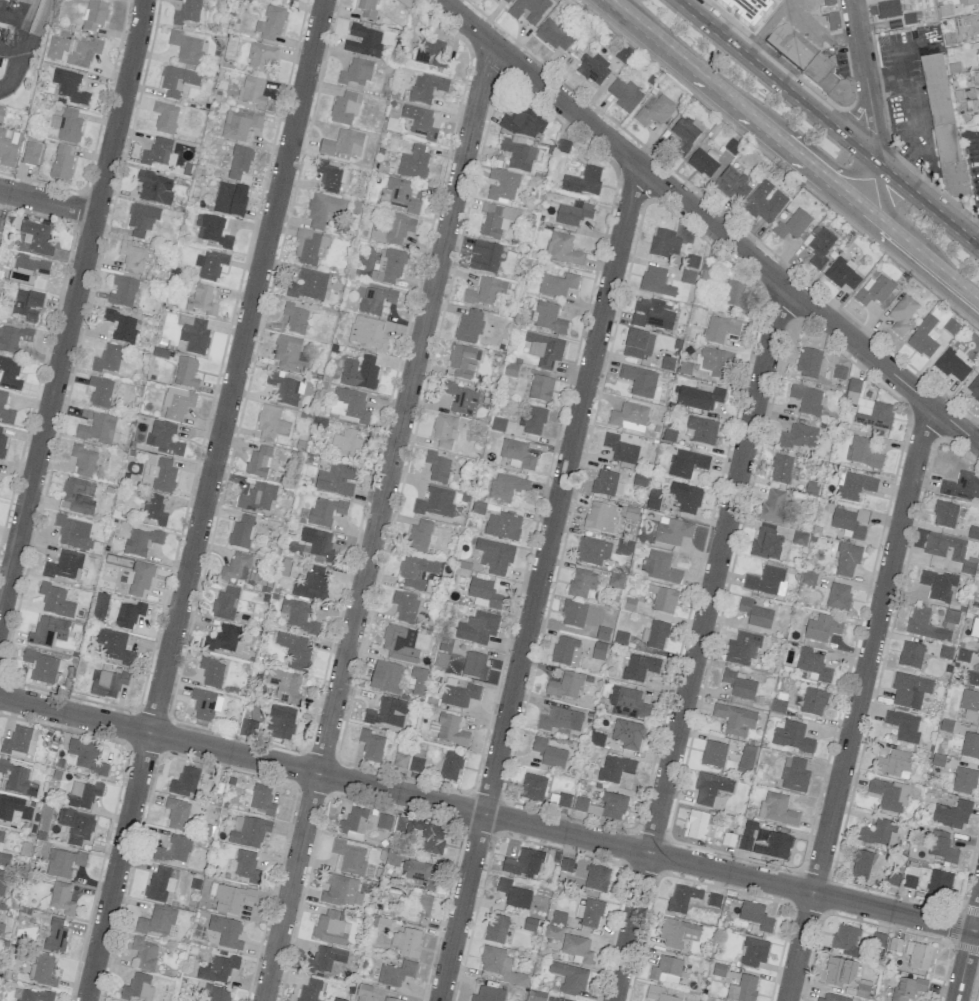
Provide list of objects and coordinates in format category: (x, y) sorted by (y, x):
building: (272, 0)
building: (504, 2)
road: (611, 4)
road: (612, 4)
building: (367, 8)
building: (888, 9)
building: (528, 10)
building: (747, 10)
building: (187, 12)
building: (831, 14)
building: (94, 15)
building: (270, 23)
building: (967, 25)
road: (766, 26)
road: (37, 27)
road: (818, 29)
building: (553, 36)
building: (363, 41)
building: (978, 42)
building: (791, 45)
road: (21, 46)
building: (186, 48)
road: (11, 49)
building: (73, 50)
building: (430, 53)
building: (260, 57)
building: (593, 68)
building: (356, 73)
road: (884, 78)
building: (975, 78)
building: (178, 81)
building: (829, 81)
road: (781, 83)
road: (866, 83)
building: (70, 87)
building: (426, 88)
building: (252, 92)
building: (623, 95)
building: (966, 98)
building: (344, 108)
road: (910, 110)
building: (654, 111)
building: (165, 117)
building: (420, 121)
building: (523, 123)
building: (67, 125)
building: (239, 125)
building: (943, 127)
building: (684, 133)
building: (343, 146)
building: (8, 148)
building: (157, 152)
road: (799, 152)
building: (30, 154)
building: (517, 155)
building: (703, 161)
building: (239, 162)
building: (413, 162)
building: (61, 163)
building: (330, 177)
building: (583, 181)
road: (870, 183)
building: (732, 184)
building: (501, 185)
building: (154, 188)
building: (399, 195)
building: (229, 199)
road: (48, 200)
building: (765, 202)
road: (930, 207)
building: (324, 209)
building: (573, 213)
building: (0, 219)
building: (141, 219)
building: (496, 220)
road: (709, 221)
building: (792, 225)
building: (394, 229)
building: (213, 231)
building: (35, 238)
building: (664, 243)
building: (309, 247)
building: (820, 247)
building: (563, 249)
building: (484, 256)
building: (131, 257)
building: (210, 265)
building: (388, 267)
building: (706, 269)
building: (28, 272)
building: (842, 274)
building: (655, 281)
building: (557, 284)
building: (308, 285)
building: (874, 290)
building: (122, 292)
building: (486, 292)
building: (734, 294)
building: (202, 300)
building: (375, 300)
building: (26, 304)
road: (73, 306)
building: (651, 314)
building: (902, 314)
building: (294, 318)
building: (549, 318)
building: (121, 326)
building: (469, 327)
building: (951, 327)
building: (719, 329)
building: (366, 333)
building: (924, 337)
building: (12, 338)
building: (638, 344)
building: (544, 349)
building: (289, 354)
building: (107, 359)
building: (463, 362)
building: (715, 362)
building: (808, 362)
building: (952, 365)
building: (185, 372)
building: (839, 372)
building: (359, 373)
building: (9, 374)
building: (639, 380)
building: (540, 388)
building: (974, 388)
building: (286, 390)
building: (100, 392)
building: (698, 396)
building: (461, 399)
building: (807, 399)
building: (177, 403)
building: (868, 408)
building: (5, 409)
building: (629, 417)
building: (534, 421)
building: (271, 424)
building: (498, 424)
building: (97, 429)
building: (0, 430)
building: (443, 430)
building: (702, 430)
building: (798, 436)
building: (164, 438)
building: (346, 445)
building: (2, 446)
building: (621, 449)
building: (864, 453)
building: (516, 455)
building: (83, 460)
building: (258, 462)
building: (687, 464)
building: (437, 467)
building: (780, 468)
building: (162, 475)
building: (336, 480)
building: (604, 483)
building: (855, 486)
building: (506, 487)
building: (962, 487)
building: (78, 495)
building: (258, 497)
building: (685, 497)
building: (653, 499)
road: (204, 500)
building: (436, 502)
building: (772, 507)
building: (478, 508)
building: (154, 509)
building: (325, 511)
building: (945, 514)
building: (600, 517)
road: (377, 521)
building: (850, 522)
building: (503, 526)
building: (240, 532)
building: (672, 532)
building: (73, 533)
building: (419, 536)
building: (140, 541)
building: (766, 542)
building: (319, 543)
building: (944, 546)
building: (592, 551)
building: (494, 556)
building: (847, 559)
building: (66, 566)
building: (236, 567)
building: (660, 567)
building: (968, 567)
building: (416, 570)
building: (809, 577)
building: (140, 578)
road: (538, 581)
building: (767, 581)
building: (581, 583)
building: (312, 585)
building: (938, 585)
building: (483, 593)
building: (838, 597)
building: (663, 599)
building: (56, 601)
building: (225, 603)
building: (405, 605)
building: (100, 608)
building: (573, 614)
building: (755, 614)
building: (129, 615)
building: (298, 616)
building: (922, 624)
building: (477, 628)
building: (822, 628)
building: (975, 630)
building: (48, 631)
building: (655, 635)
building: (226, 639)
building: (398, 642)
road: (697, 642)
building: (445, 645)
building: (114, 646)
building: (742, 648)
building: (294, 651)
building: (565, 651)
building: (911, 655)
building: (441, 660)
building: (813, 664)
building: (474, 665)
building: (43, 666)
building: (639, 667)
building: (211, 672)
building: (386, 676)
building: (972, 679)
building: (416, 681)
building: (107, 683)
building: (739, 684)
building: (285, 686)
building: (564, 686)
building: (910, 690)
building: (459, 695)
road: (856, 701)
building: (813, 702)
building: (628, 703)
building: (203, 704)
building: (970, 705)
building: (387, 713)
building: (735, 719)
building: (560, 720)
building: (280, 723)
building: (905, 727)
building: (247, 728)
building: (628, 734)
building: (793, 737)
building: (16, 742)
building: (371, 746)
building: (970, 746)
building: (549, 753)
building: (713, 754)
building: (86, 756)
building: (746, 759)
building: (400, 761)
building: (416, 764)
building: (893, 764)
building: (451, 766)
building: (615, 768)
building: (794, 775)
building: (17, 779)
building: (964, 781)
building: (184, 782)
building: (532, 788)
building: (710, 788)
building: (83, 794)
building: (890, 795)
building: (261, 799)
building: (559, 800)
building: (613, 806)
building: (586, 807)
building: (14, 809)
building: (776, 809)
building: (177, 813)
road: (489, 814)
building: (951, 815)
building: (384, 822)
building: (353, 824)
building: (76, 825)
building: (696, 825)
building: (248, 831)
building: (880, 833)
building: (423, 834)
building: (728, 839)
building: (745, 843)
building: (778, 846)
building: (941, 847)
building: (174, 850)
building: (3, 853)
building: (349, 857)
building: (63, 863)
building: (523, 864)
building: (861, 864)
building: (566, 865)
building: (246, 866)
building: (420, 874)
building: (597, 878)
building: (892, 879)
building: (2, 881)
building: (939, 883)
building: (159, 885)
building: (342, 891)
building: (514, 894)
building: (61, 898)
building: (231, 898)
building: (682, 898)
building: (714, 900)
building: (422, 906)
building: (589, 913)
building: (755, 916)
building: (157, 921)
building: (381, 924)
building: (330, 928)
building: (1, 929)
building: (496, 929)
building: (226, 931)
building: (552, 932)
building: (676, 932)
building: (55, 936)
building: (846, 940)
building: (406, 942)
building: (894, 944)
building: (577, 949)
road: (966, 950)
building: (754, 952)
building: (144, 953)
building: (919, 956)
building: (324, 959)
building: (501, 966)
building: (218, 969)
building: (42, 970)
building: (666, 970)
building: (839, 972)
building: (395, 973)
building: (570, 977)
building: (138, 987)
building: (908, 988)
building: (743, 989)
building: (309, 990)
building: (363, 992)
building: (219, 994)
building: (488, 994)
building: (658, 994)
building: (33, 995)
building: (831, 997)
building: (389, 999)

